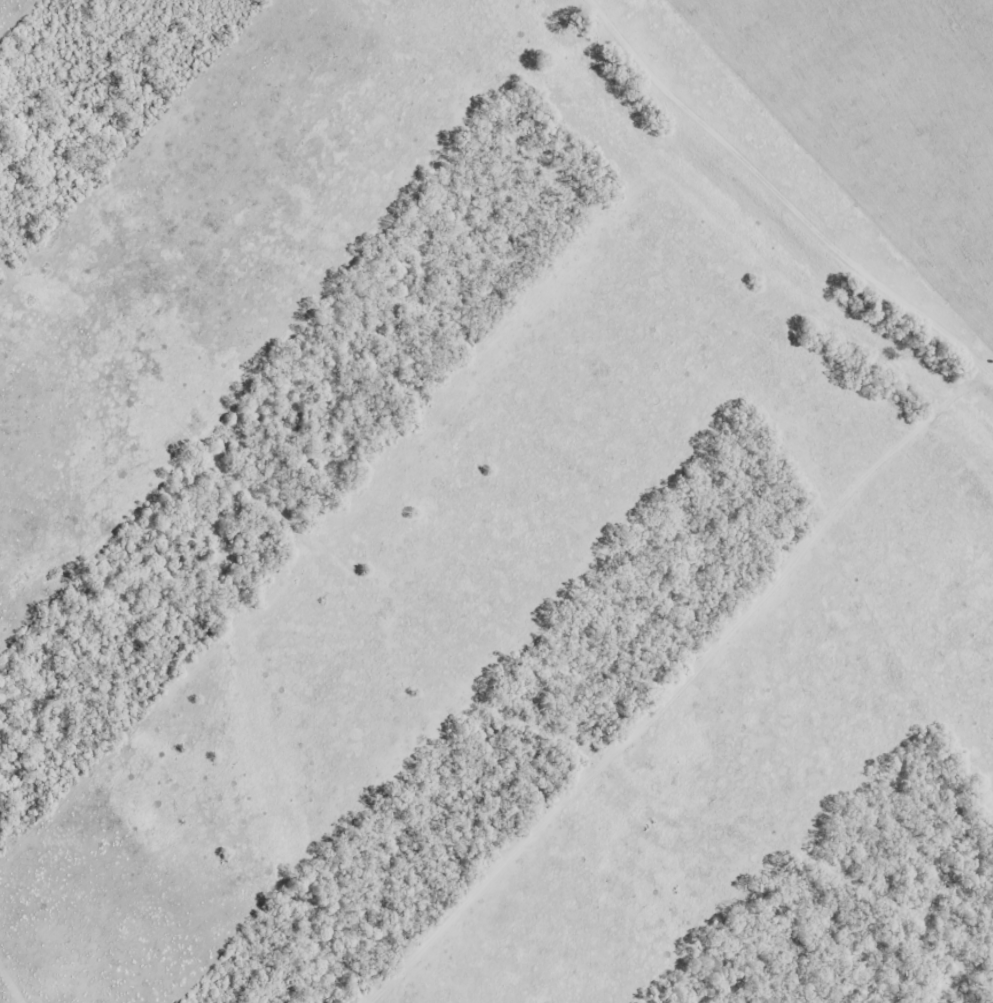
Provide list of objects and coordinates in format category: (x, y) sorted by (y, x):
road: (948, 987)

